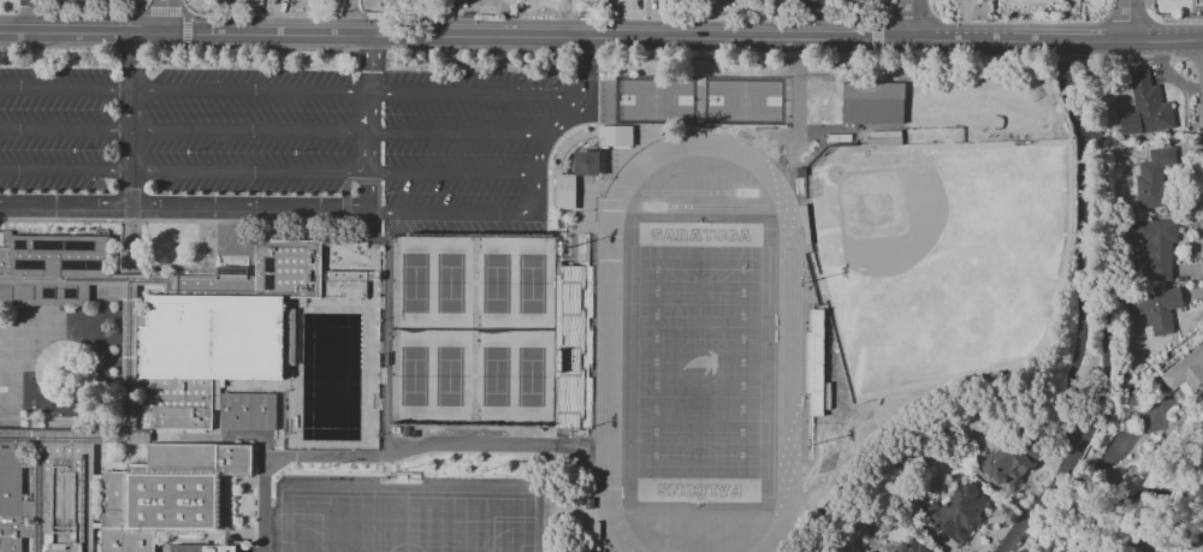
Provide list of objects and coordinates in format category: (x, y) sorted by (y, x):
road: (178, 12)
road: (26, 17)
road: (166, 17)
road: (346, 17)
road: (912, 18)
road: (1126, 19)
road: (600, 36)
road: (593, 52)
road: (587, 66)
road: (66, 90)
road: (360, 93)
park: (656, 101)
park: (743, 101)
building: (872, 103)
building: (1144, 107)
road: (568, 119)
road: (134, 121)
road: (369, 124)
parking lot: (174, 132)
road: (271, 133)
building: (614, 136)
parking lot: (472, 158)
road: (267, 173)
building: (1152, 177)
building: (563, 191)
park: (707, 192)
road: (66, 207)
park: (694, 207)
road: (250, 209)
road: (490, 213)
road: (372, 226)
building: (1152, 249)
park: (943, 260)
building: (51, 269)
park: (415, 284)
park: (450, 284)
park: (497, 284)
park: (531, 284)
building: (345, 285)
road: (1081, 303)
building: (1155, 309)
building: (223, 330)
track: (608, 356)
park: (699, 363)
building: (1186, 372)
park: (413, 376)
park: (449, 376)
park: (496, 378)
park: (531, 378)
building: (248, 412)
road: (379, 455)
building: (1009, 461)
building: (168, 494)
building: (64, 498)
building: (10, 500)
building: (958, 512)
park: (405, 521)
park: (404, 523)
building: (907, 546)
building: (203, 550)

